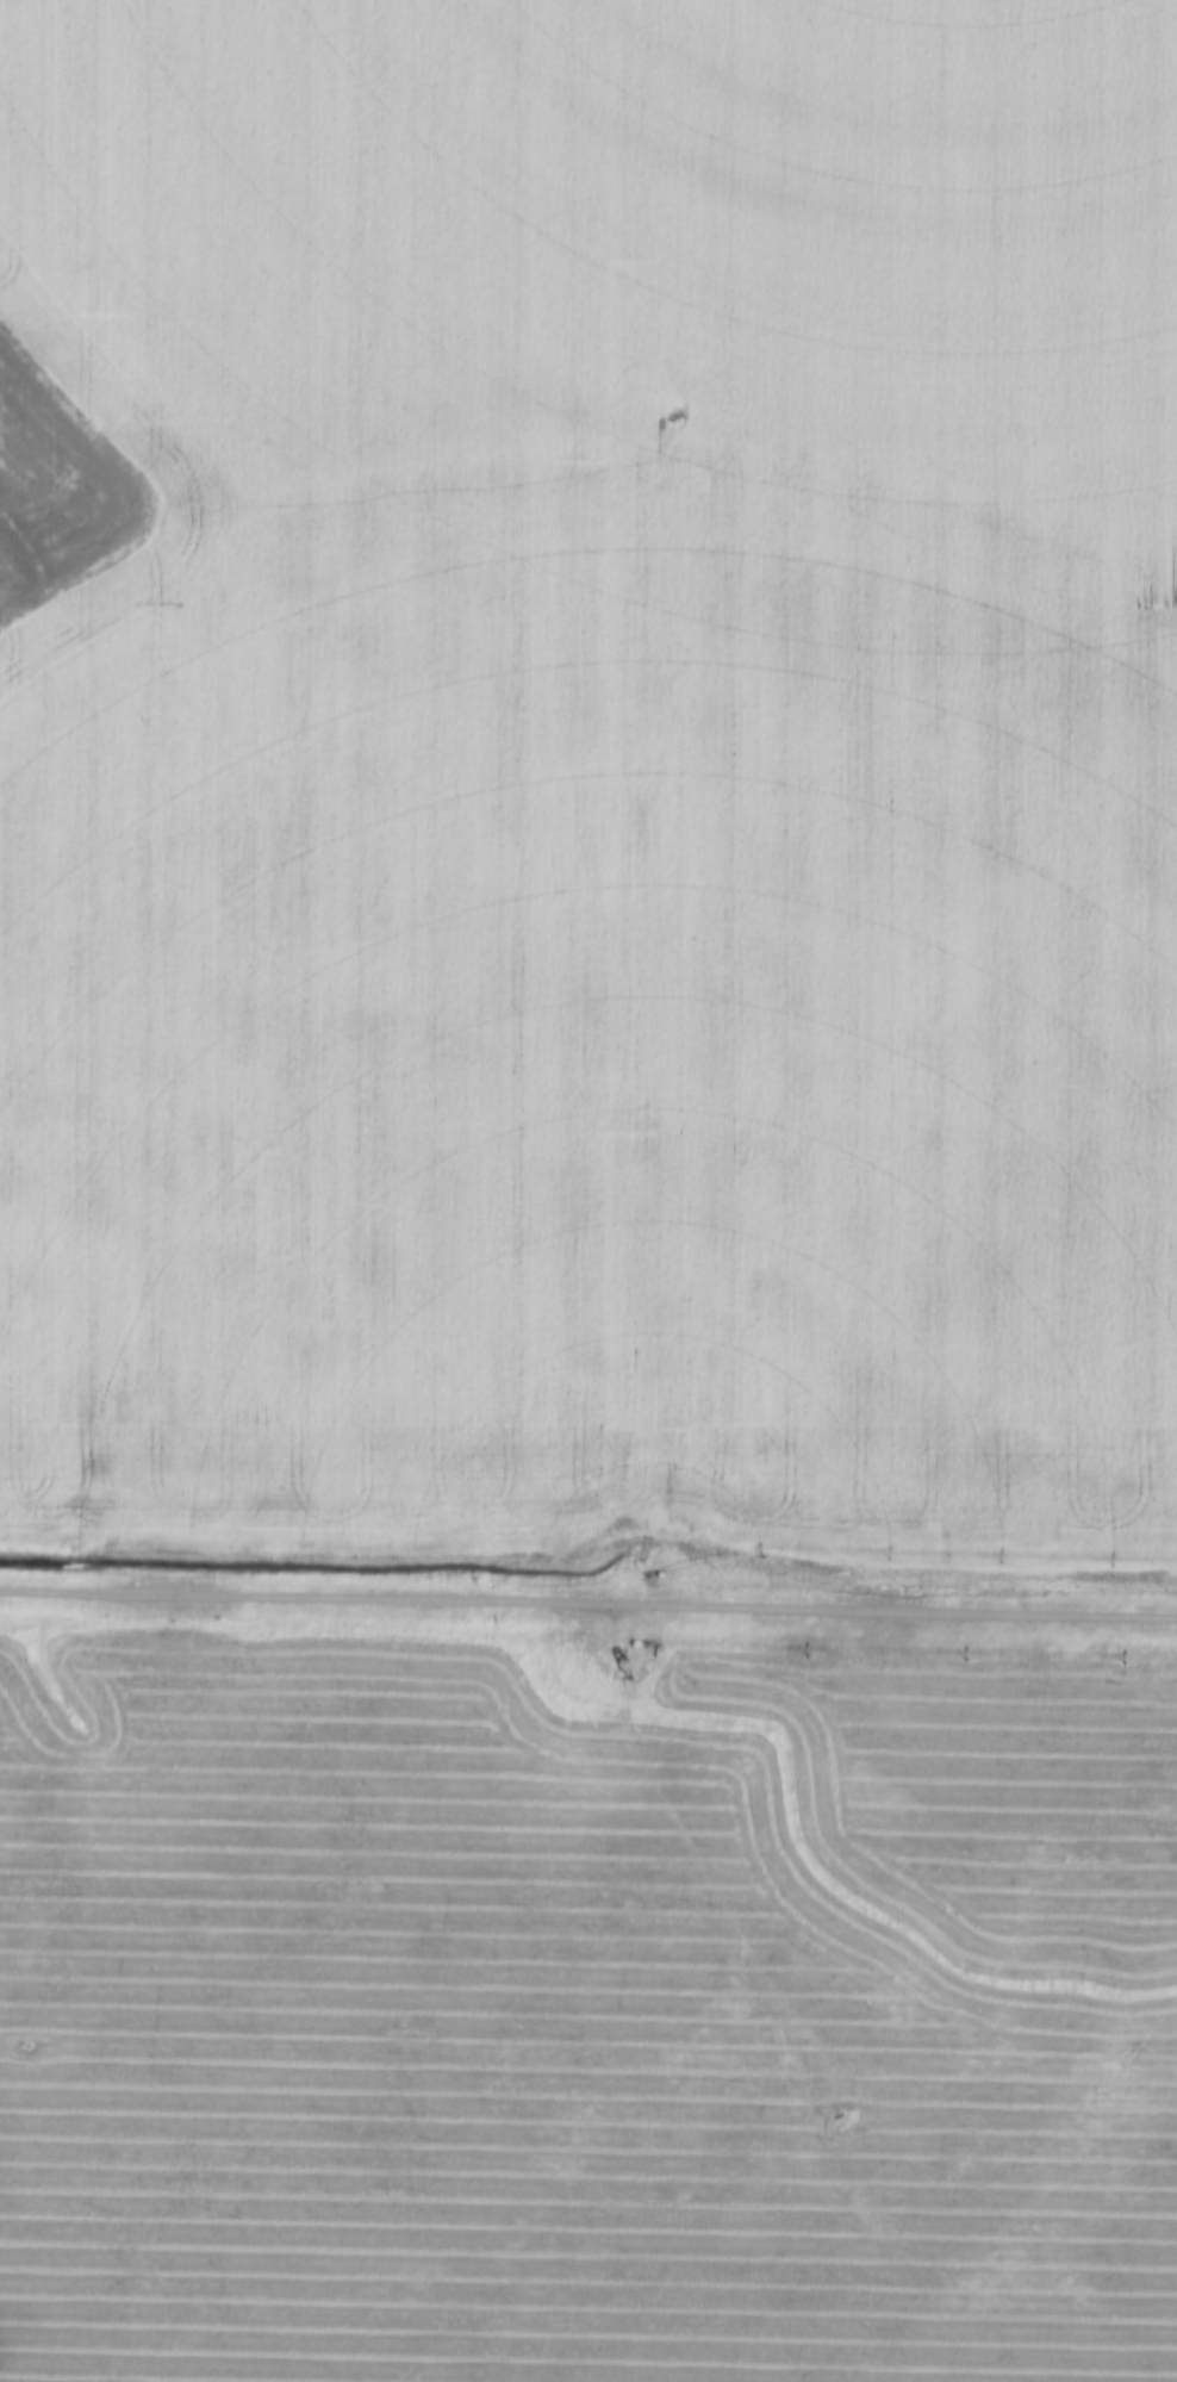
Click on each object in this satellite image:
road: (588, 1598)

